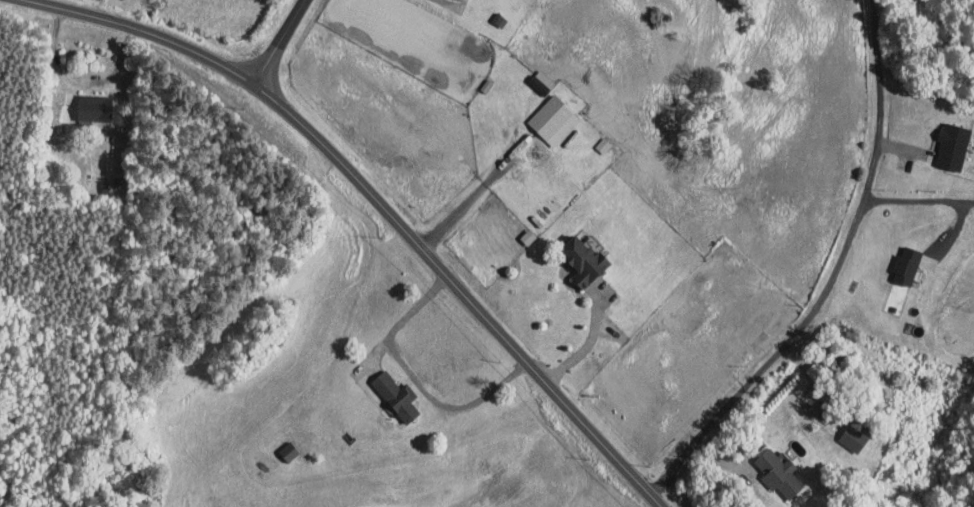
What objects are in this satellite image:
road: (443, 1)
building: (499, 19)
road: (270, 37)
building: (541, 81)
building: (94, 107)
building: (554, 119)
building: (953, 145)
road: (471, 196)
road: (918, 199)
road: (394, 228)
building: (528, 236)
building: (583, 259)
building: (906, 264)
road: (833, 277)
road: (582, 347)
road: (414, 381)
building: (396, 395)
building: (853, 437)
building: (289, 450)
building: (778, 472)

